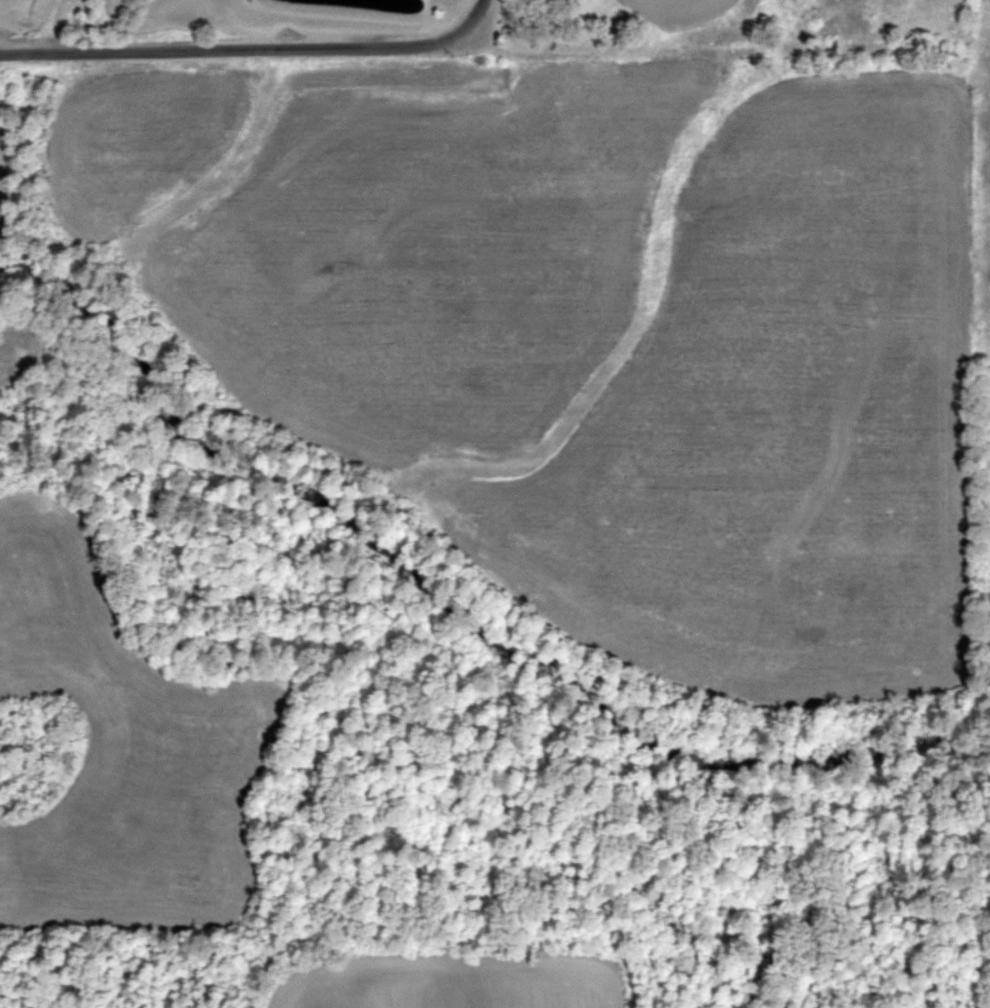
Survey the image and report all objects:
road: (255, 54)

